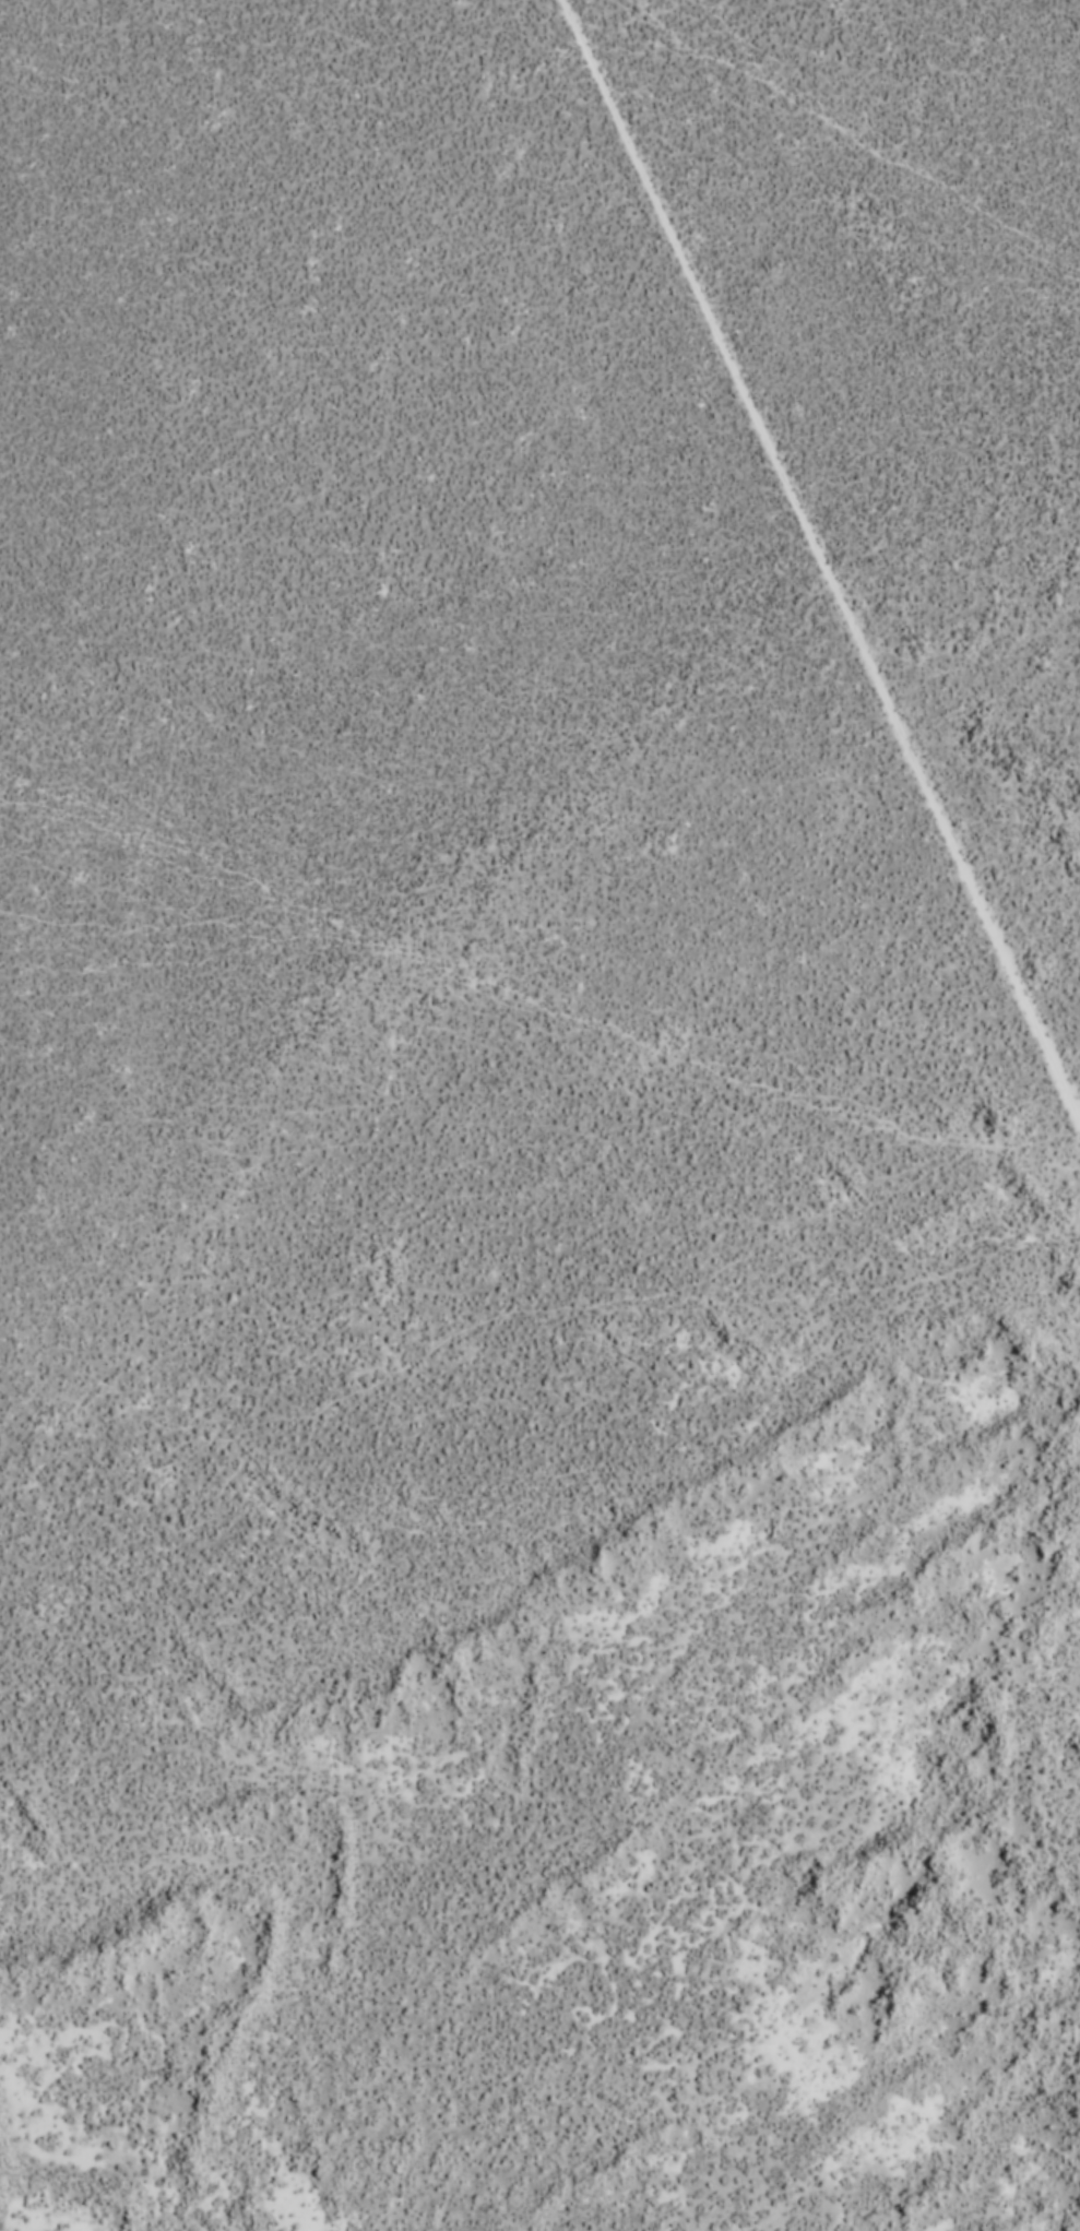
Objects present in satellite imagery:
road: (822, 558)

